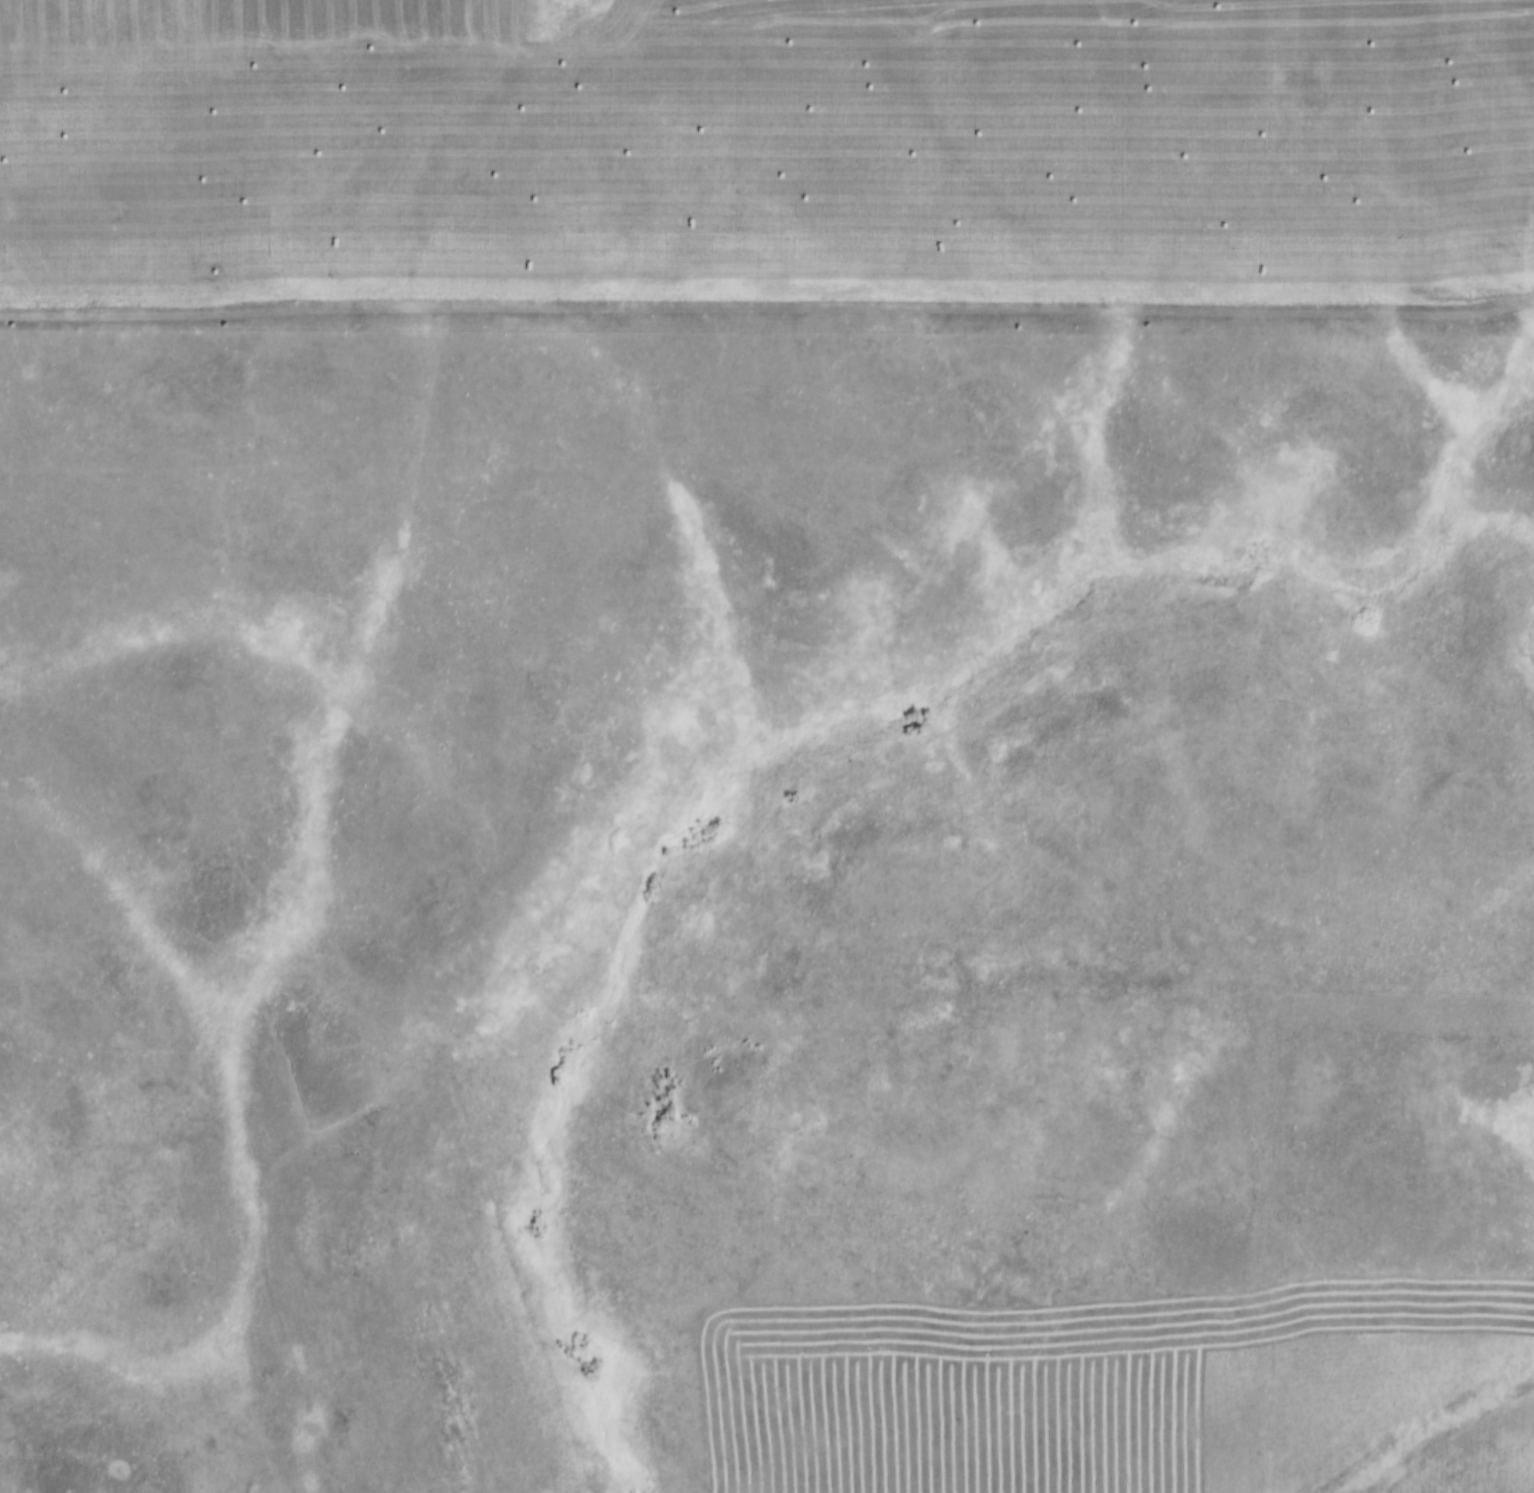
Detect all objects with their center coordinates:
road: (246, 159)
road: (768, 312)

